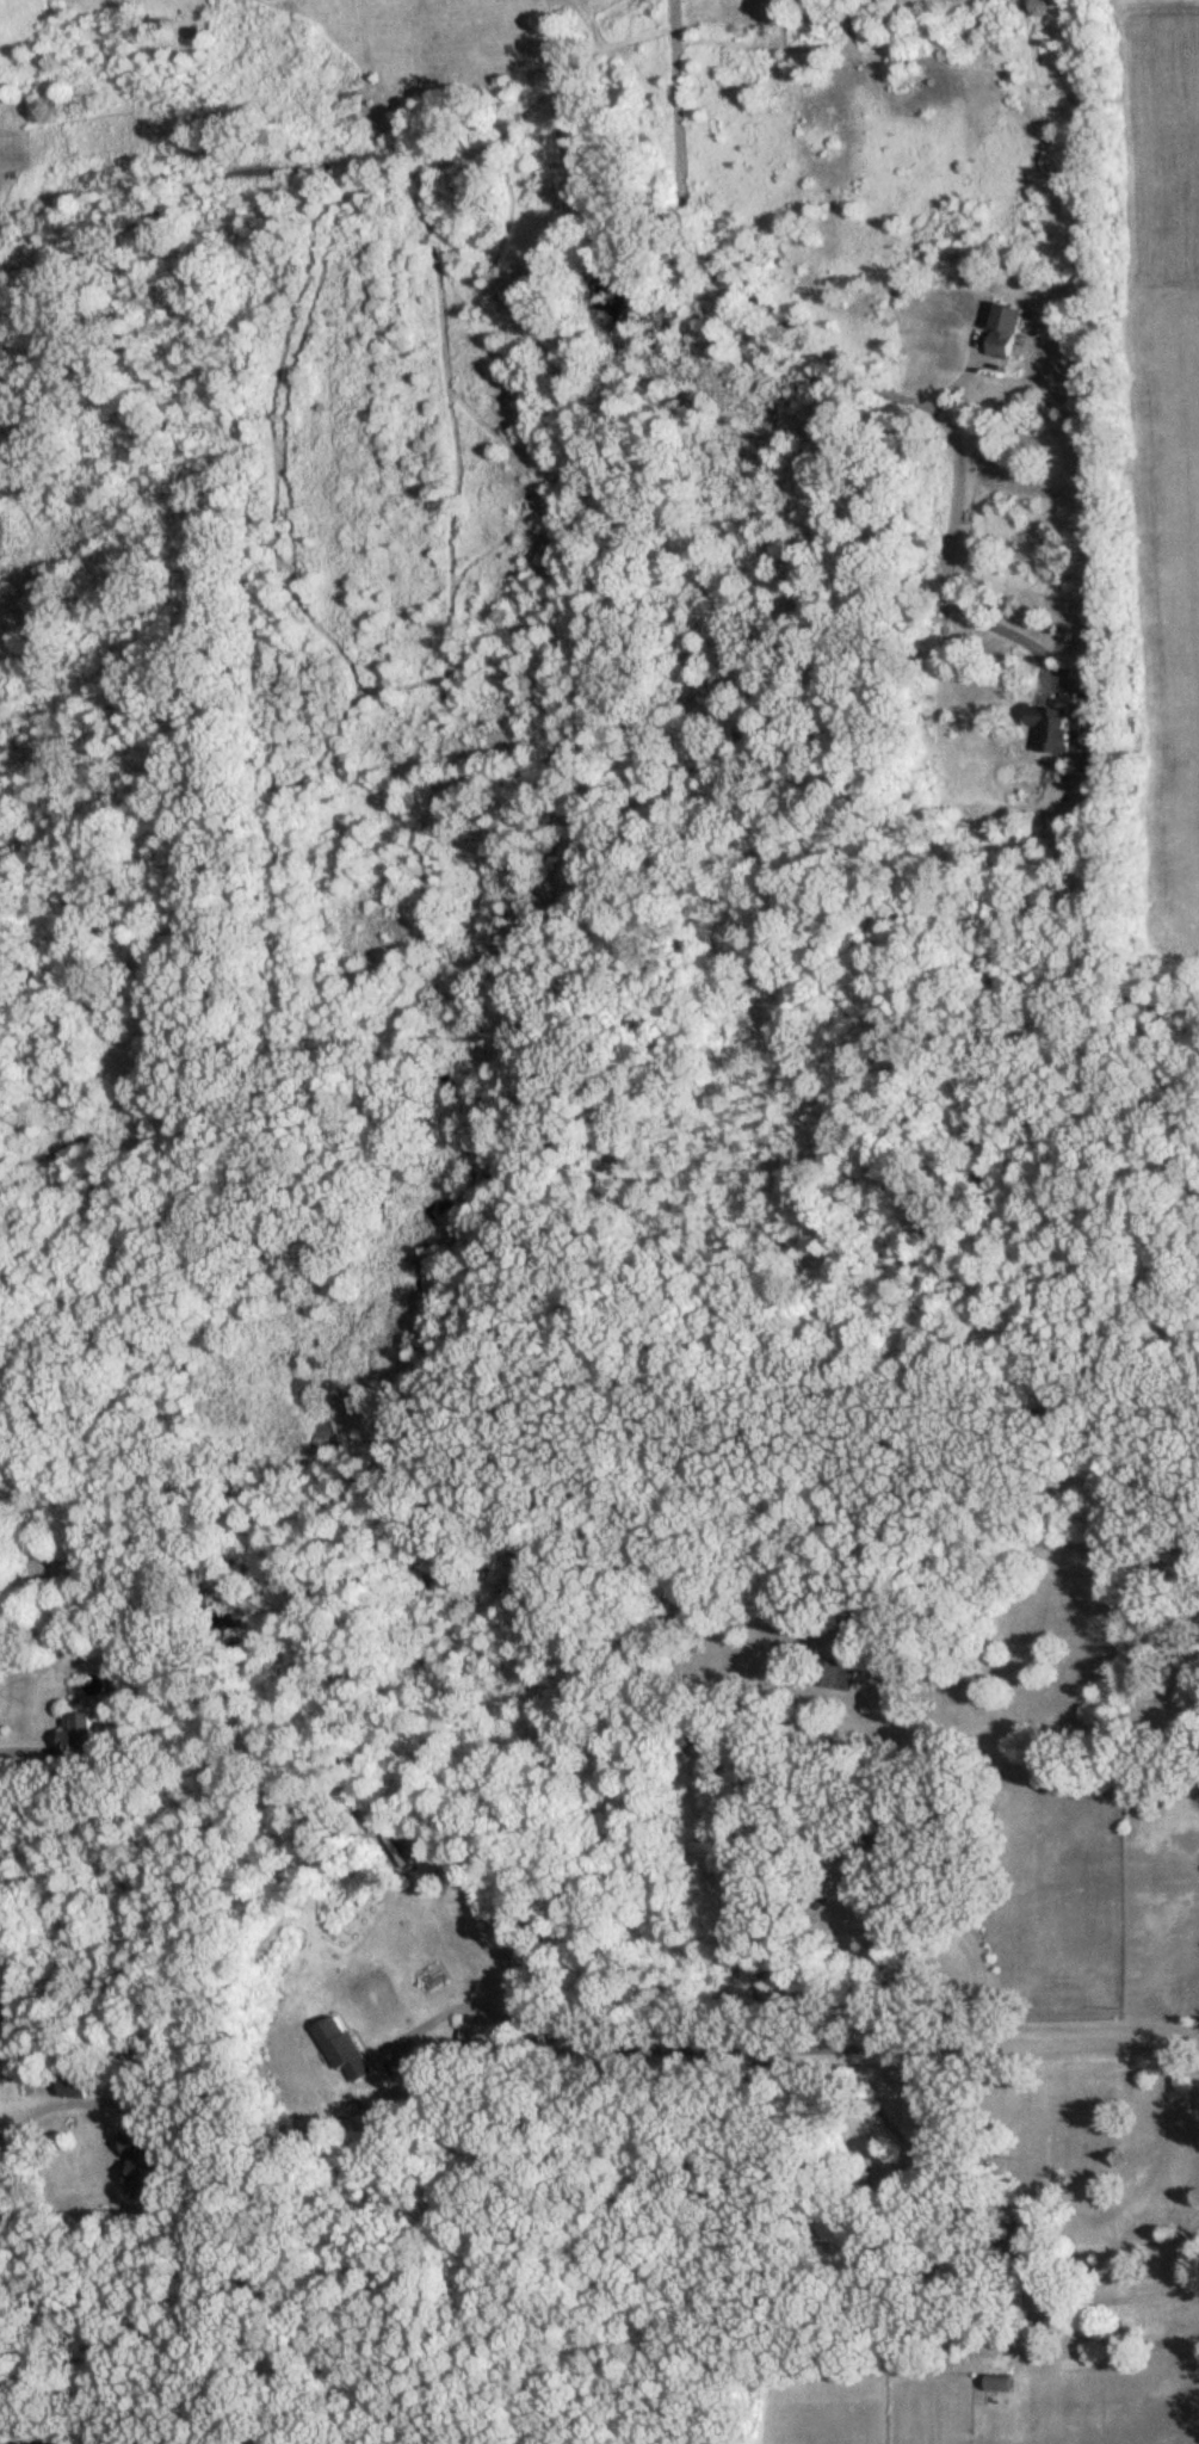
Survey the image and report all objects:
building: (1001, 331)
road: (772, 337)
road: (1006, 649)
building: (1049, 728)
building: (830, 1673)
building: (73, 1736)
road: (19, 1753)
building: (847, 1843)
road: (934, 1913)
road: (746, 2037)
building: (339, 2047)
road: (56, 2123)
building: (140, 2166)
building: (1011, 2245)
road: (1113, 2300)
building: (996, 2382)
road: (138, 2427)

